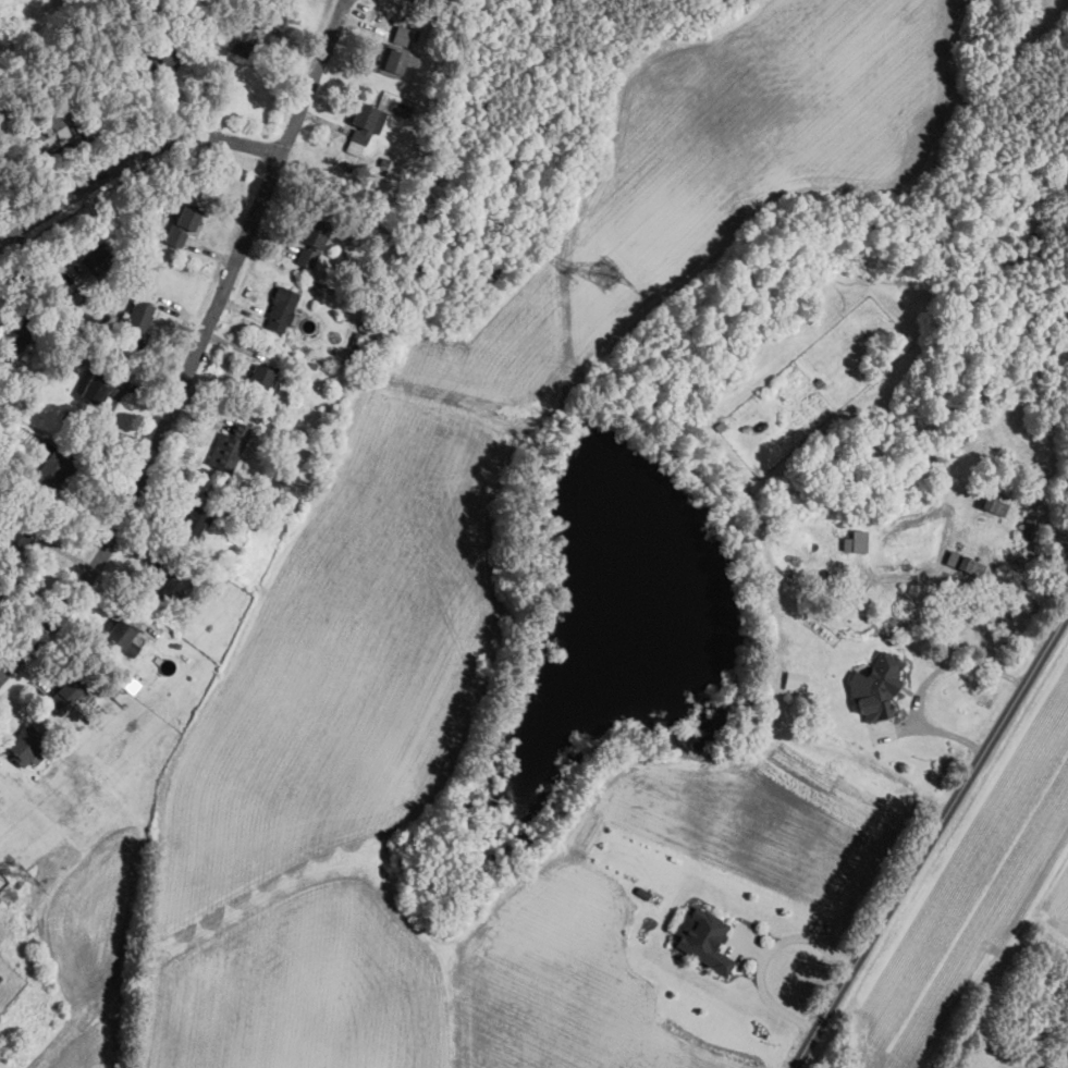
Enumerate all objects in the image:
building: (244, 38)
building: (397, 51)
building: (168, 52)
road: (316, 76)
building: (365, 126)
building: (49, 131)
road: (206, 137)
building: (182, 223)
building: (310, 241)
building: (98, 259)
power tower: (604, 272)
building: (280, 308)
building: (136, 322)
building: (24, 332)
building: (259, 376)
building: (96, 385)
road: (168, 429)
building: (228, 447)
building: (49, 471)
building: (994, 505)
building: (193, 526)
building: (1030, 526)
building: (16, 533)
building: (856, 541)
building: (966, 564)
building: (158, 586)
building: (120, 635)
building: (796, 680)
road: (924, 680)
building: (876, 686)
building: (64, 697)
building: (25, 746)
building: (0, 790)
road: (936, 844)
power tower: (13, 876)
building: (705, 940)
road: (761, 959)

